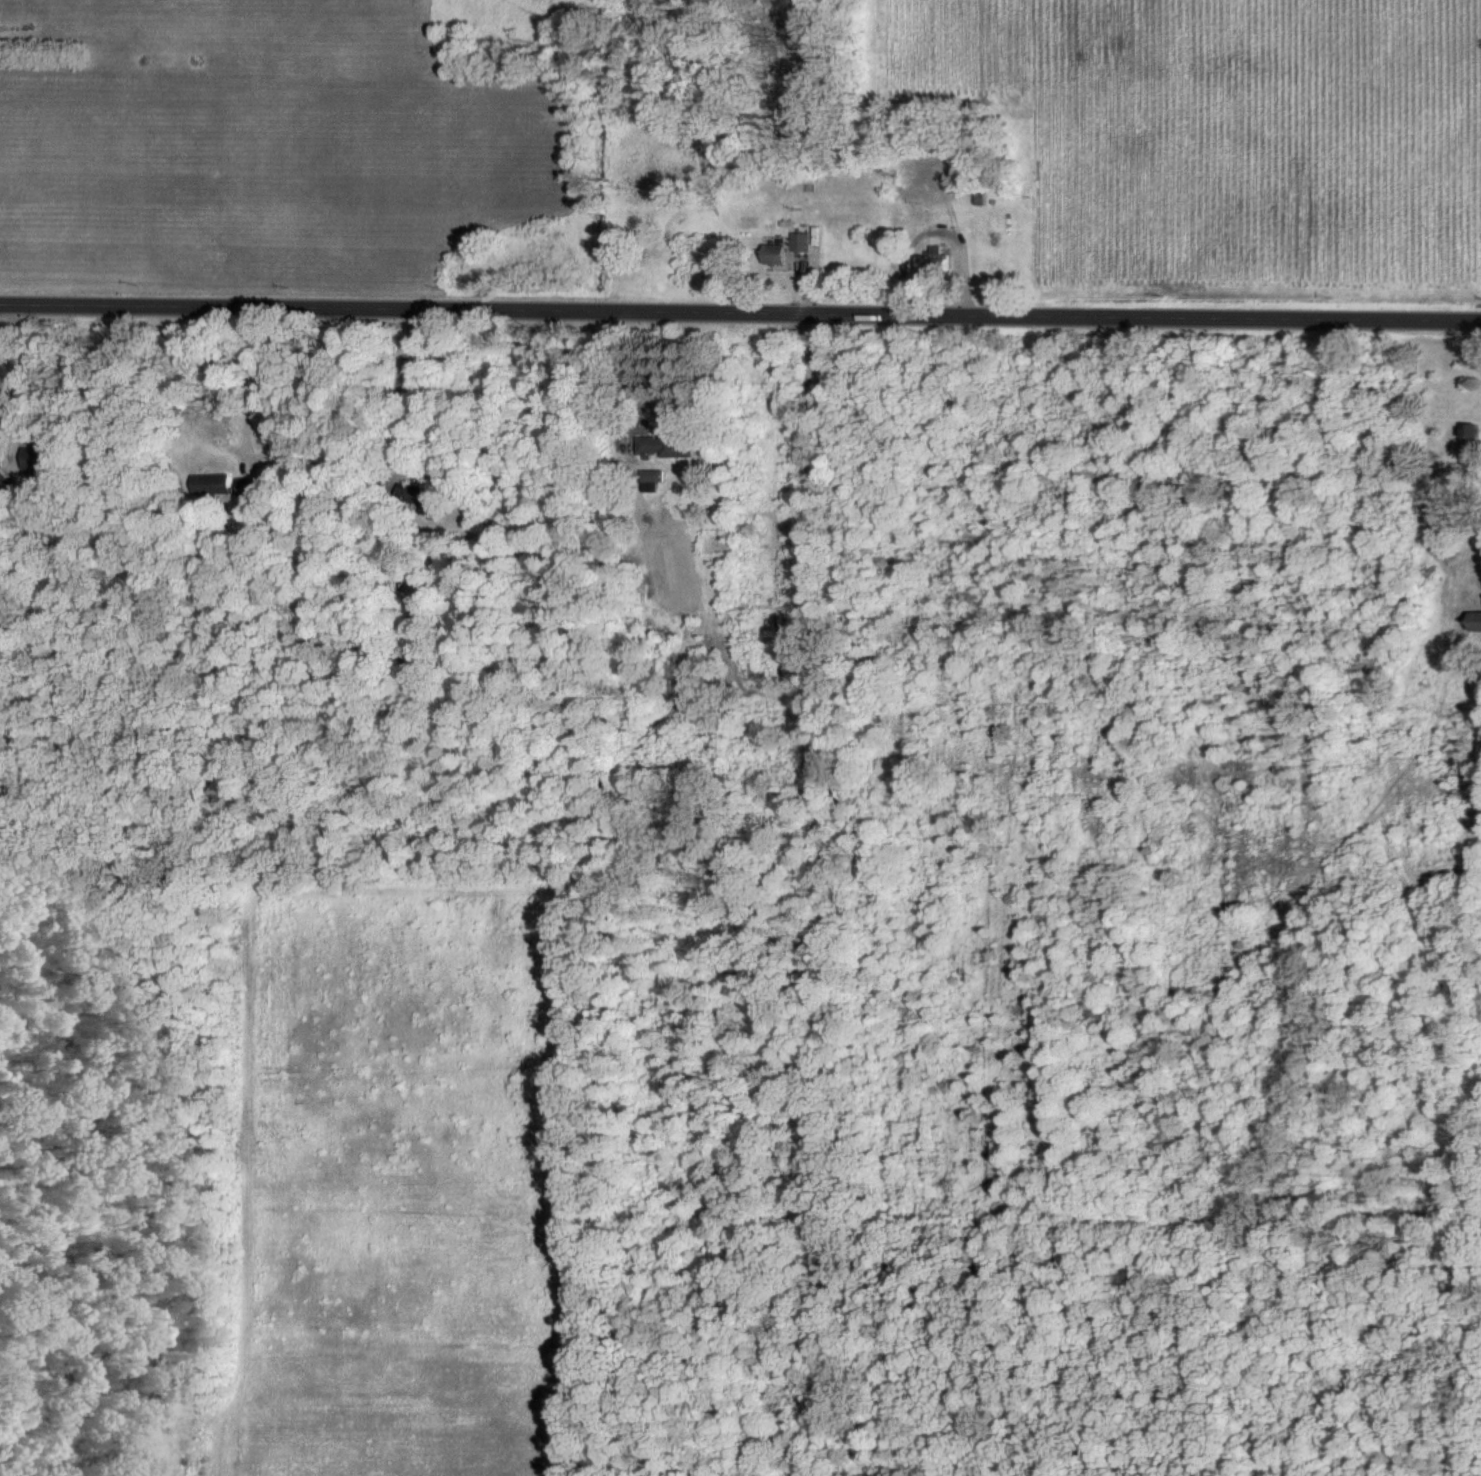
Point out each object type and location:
road: (937, 231)
building: (803, 242)
building: (777, 253)
building: (935, 262)
road: (740, 314)
road: (263, 376)
road: (14, 377)
road: (617, 379)
road: (413, 395)
building: (667, 447)
building: (1467, 447)
building: (4, 484)
building: (211, 484)
building: (245, 487)
building: (1476, 623)

